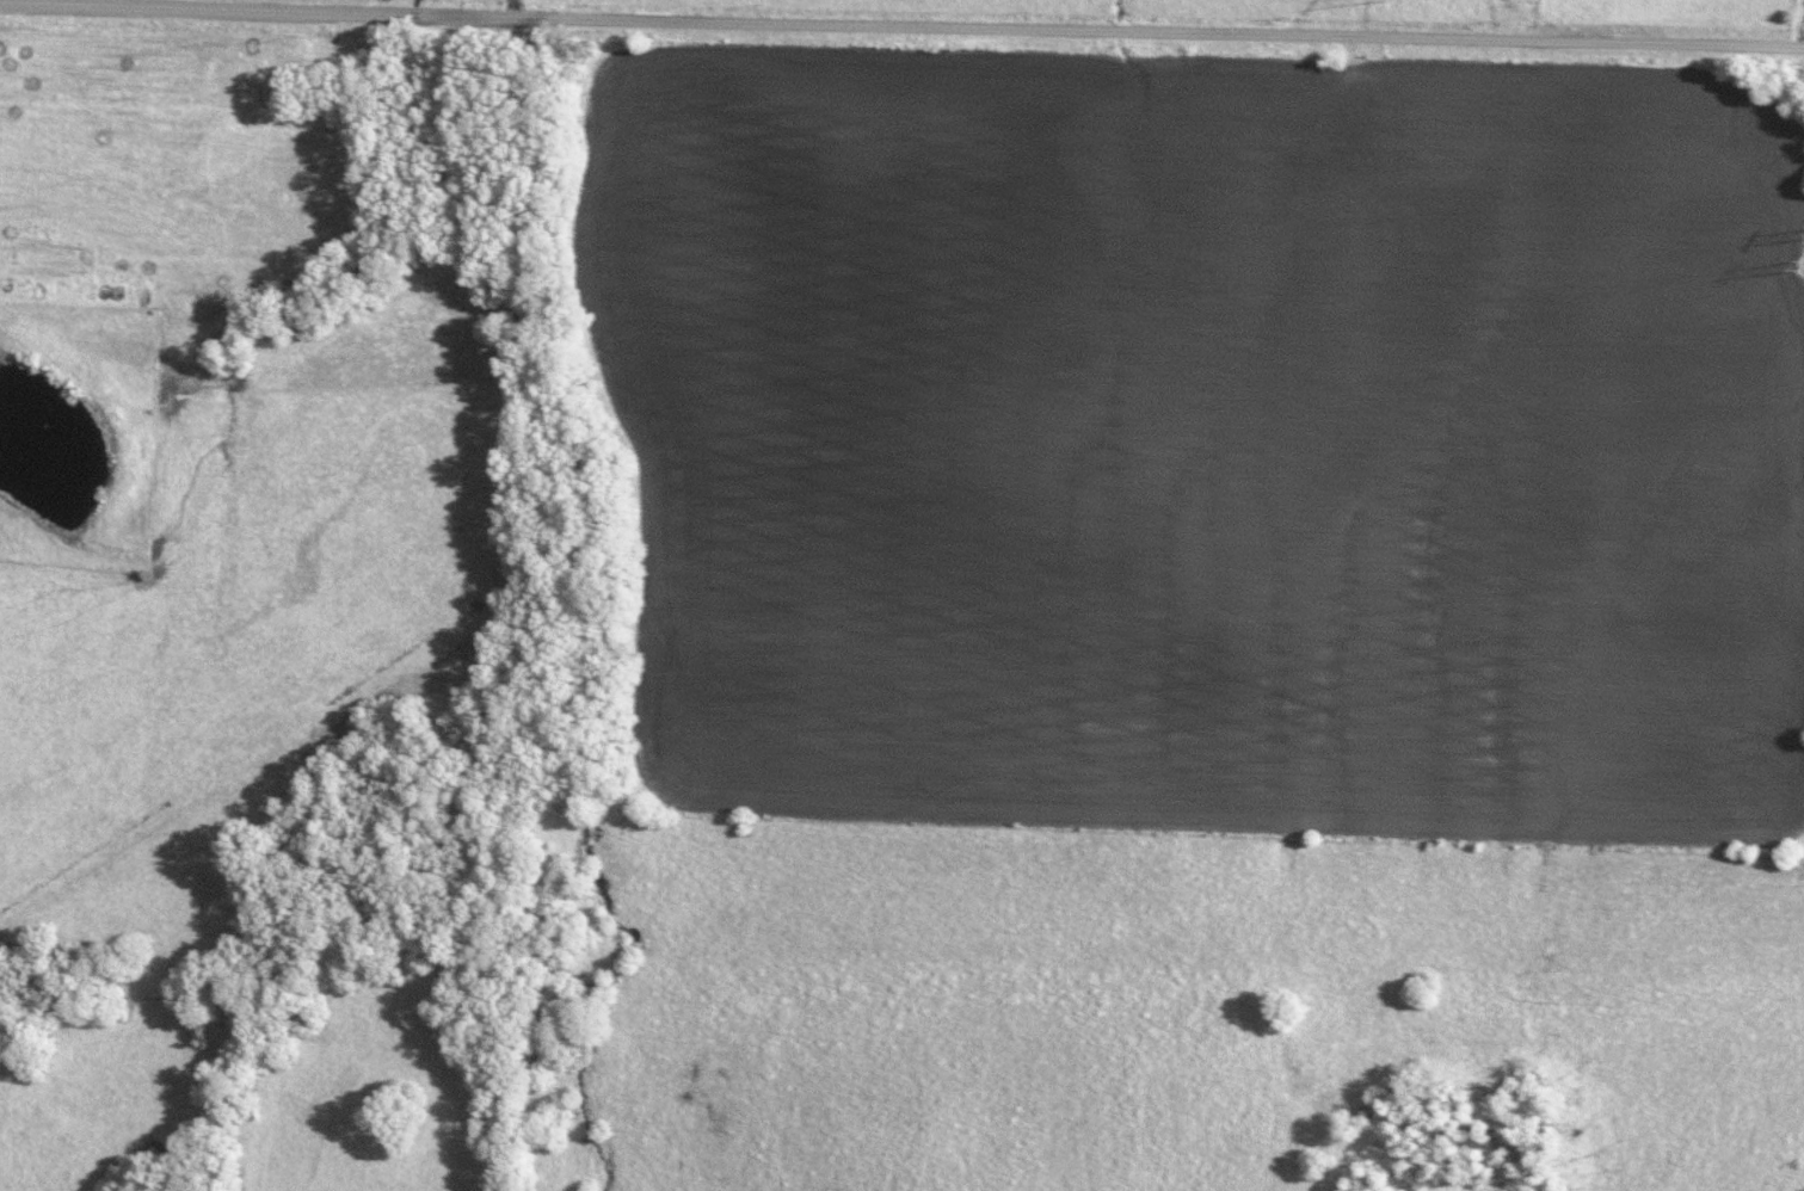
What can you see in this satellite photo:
road: (901, 25)
power tower: (1794, 270)

